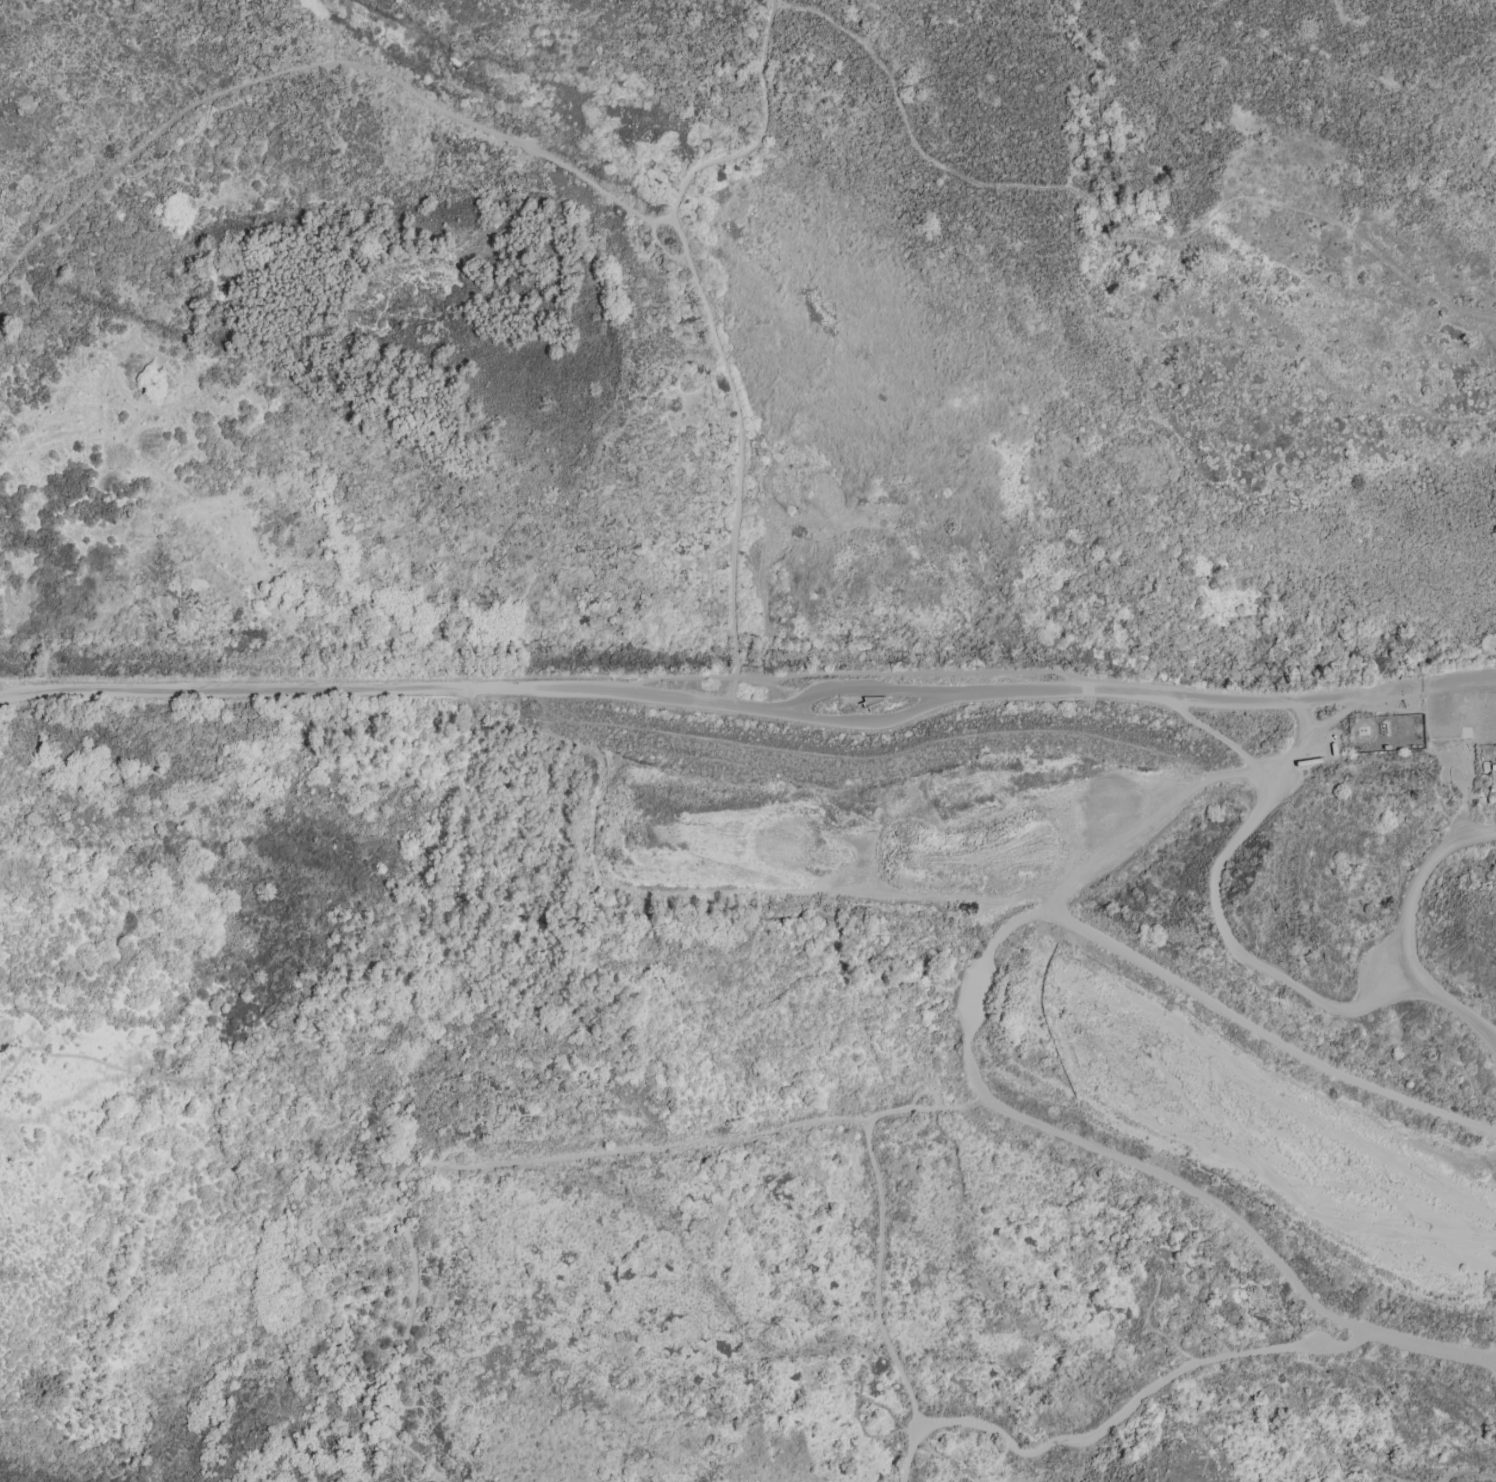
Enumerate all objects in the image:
road: (443, 108)
road: (1107, 225)
road: (740, 458)
road: (551, 676)
road: (1460, 687)
road: (717, 703)
parking lot: (1461, 721)
road: (874, 725)
road: (1317, 727)
road: (1217, 734)
road: (1474, 777)
road: (1222, 925)
road: (1406, 932)
road: (979, 969)
road: (223, 1145)
road: (516, 1160)
road: (878, 1277)
road: (731, 1311)
road: (1431, 1347)
road: (1137, 1403)
road: (909, 1455)

